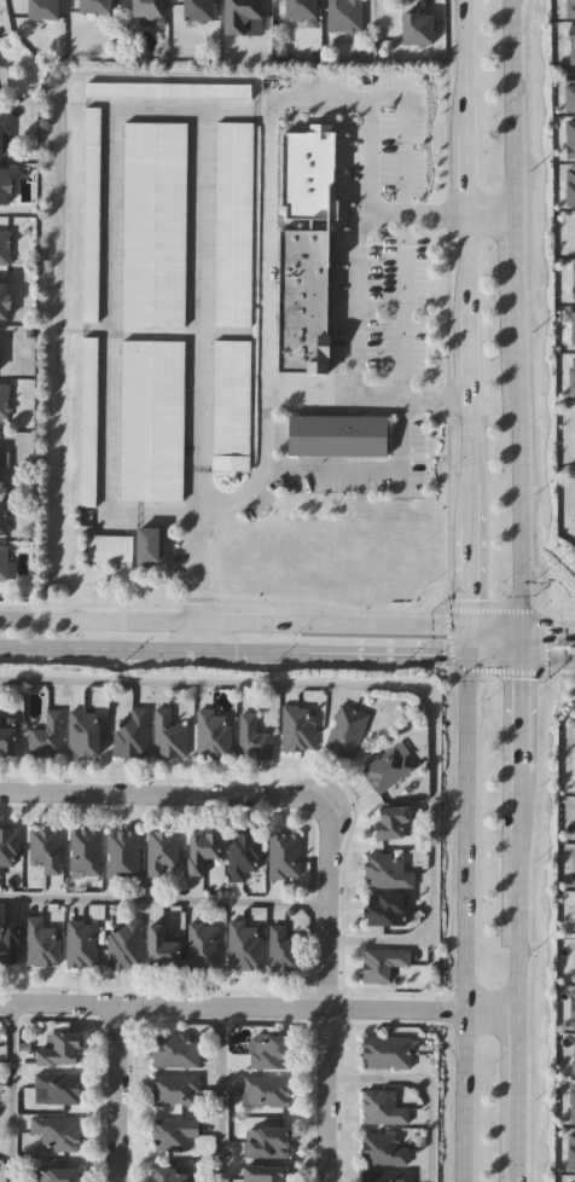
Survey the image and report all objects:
building: (569, 5)
building: (94, 7)
building: (146, 8)
building: (42, 10)
building: (198, 10)
building: (300, 10)
building: (345, 16)
building: (243, 18)
building: (417, 28)
building: (570, 42)
building: (2, 82)
building: (168, 89)
building: (570, 89)
road: (512, 106)
building: (570, 137)
building: (0, 141)
road: (261, 158)
building: (571, 182)
building: (4, 187)
building: (92, 214)
road: (463, 214)
building: (155, 224)
building: (233, 224)
building: (573, 231)
road: (461, 236)
building: (5, 248)
building: (574, 277)
road: (202, 278)
road: (515, 286)
building: (2, 301)
building: (302, 302)
road: (108, 306)
road: (353, 306)
building: (574, 325)
road: (407, 341)
building: (573, 373)
road: (360, 399)
building: (4, 401)
building: (232, 405)
building: (152, 419)
building: (573, 421)
building: (89, 422)
building: (338, 434)
road: (516, 493)
road: (240, 498)
building: (4, 517)
building: (151, 545)
building: (110, 546)
road: (463, 549)
building: (4, 563)
road: (231, 620)
traffic signals: (464, 626)
road: (490, 626)
traffic signals: (517, 627)
road: (545, 628)
road: (463, 642)
road: (517, 643)
road: (63, 650)
road: (162, 653)
road: (252, 654)
road: (385, 656)
traffic signals: (463, 659)
road: (489, 659)
traffic signals: (517, 660)
road: (546, 660)
road: (383, 685)
building: (298, 726)
building: (348, 730)
building: (83, 732)
building: (130, 732)
building: (211, 732)
building: (169, 734)
building: (47, 735)
building: (7, 737)
building: (252, 737)
road: (517, 747)
building: (388, 767)
building: (573, 770)
road: (161, 793)
building: (390, 819)
building: (8, 847)
building: (46, 848)
building: (201, 848)
building: (161, 850)
building: (85, 851)
building: (244, 852)
building: (122, 853)
building: (284, 854)
building: (387, 869)
road: (164, 898)
building: (385, 908)
road: (464, 920)
road: (517, 923)
building: (8, 940)
building: (41, 941)
building: (82, 943)
building: (124, 943)
building: (203, 945)
building: (245, 945)
building: (284, 945)
building: (161, 946)
building: (574, 958)
building: (382, 962)
road: (327, 992)
road: (259, 1003)
building: (573, 1010)
building: (58, 1048)
building: (175, 1049)
building: (271, 1049)
building: (387, 1050)
building: (573, 1056)
road: (517, 1076)
building: (58, 1085)
road: (423, 1087)
road: (8, 1088)
road: (114, 1089)
building: (176, 1089)
building: (266, 1089)
road: (221, 1091)
building: (382, 1106)
building: (574, 1106)
building: (57, 1131)
building: (172, 1131)
building: (266, 1138)
building: (383, 1147)
building: (573, 1153)
road: (516, 1160)
building: (263, 1171)
building: (54, 1174)
building: (169, 1174)
building: (387, 1175)
building: (573, 1181)

